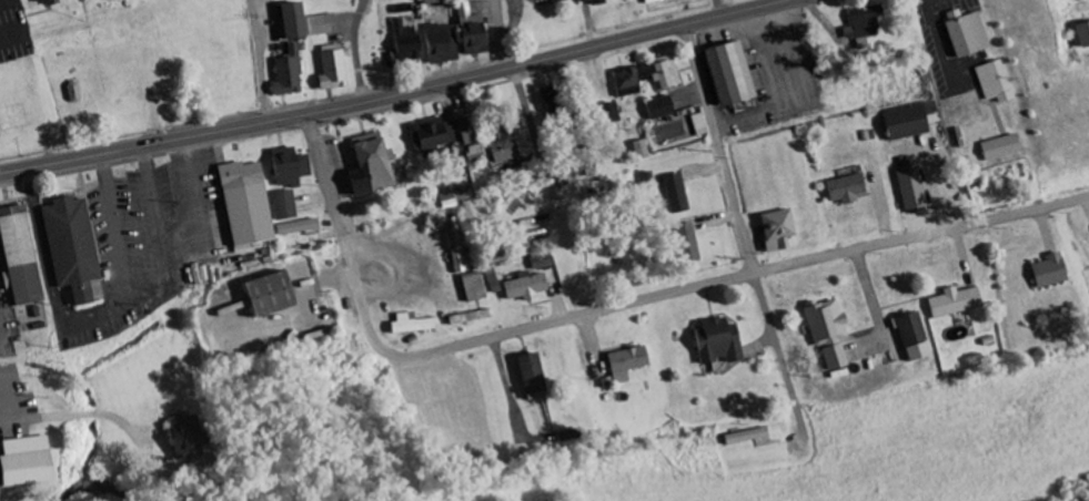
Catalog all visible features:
building: (466, 14)
building: (290, 20)
building: (321, 24)
building: (861, 28)
road: (504, 34)
building: (1082, 34)
building: (966, 35)
building: (472, 38)
building: (404, 42)
building: (442, 43)
road: (261, 61)
building: (331, 68)
building: (286, 73)
building: (729, 73)
building: (663, 74)
building: (628, 81)
building: (992, 82)
road: (395, 95)
building: (659, 108)
building: (608, 113)
building: (909, 121)
building: (698, 125)
building: (431, 134)
building: (465, 140)
building: (498, 145)
road: (718, 147)
building: (998, 147)
building: (641, 150)
building: (367, 166)
building: (288, 167)
building: (845, 188)
building: (910, 191)
building: (675, 193)
building: (243, 203)
building: (282, 205)
building: (295, 227)
building: (775, 231)
building: (686, 243)
building: (453, 245)
building: (69, 247)
building: (16, 257)
building: (540, 265)
building: (1047, 272)
road: (150, 283)
building: (524, 286)
building: (471, 288)
building: (261, 296)
building: (952, 301)
road: (615, 305)
building: (466, 318)
building: (411, 324)
building: (826, 333)
building: (910, 337)
building: (715, 341)
building: (624, 364)
building: (528, 374)
building: (180, 437)
building: (744, 437)
building: (22, 462)

